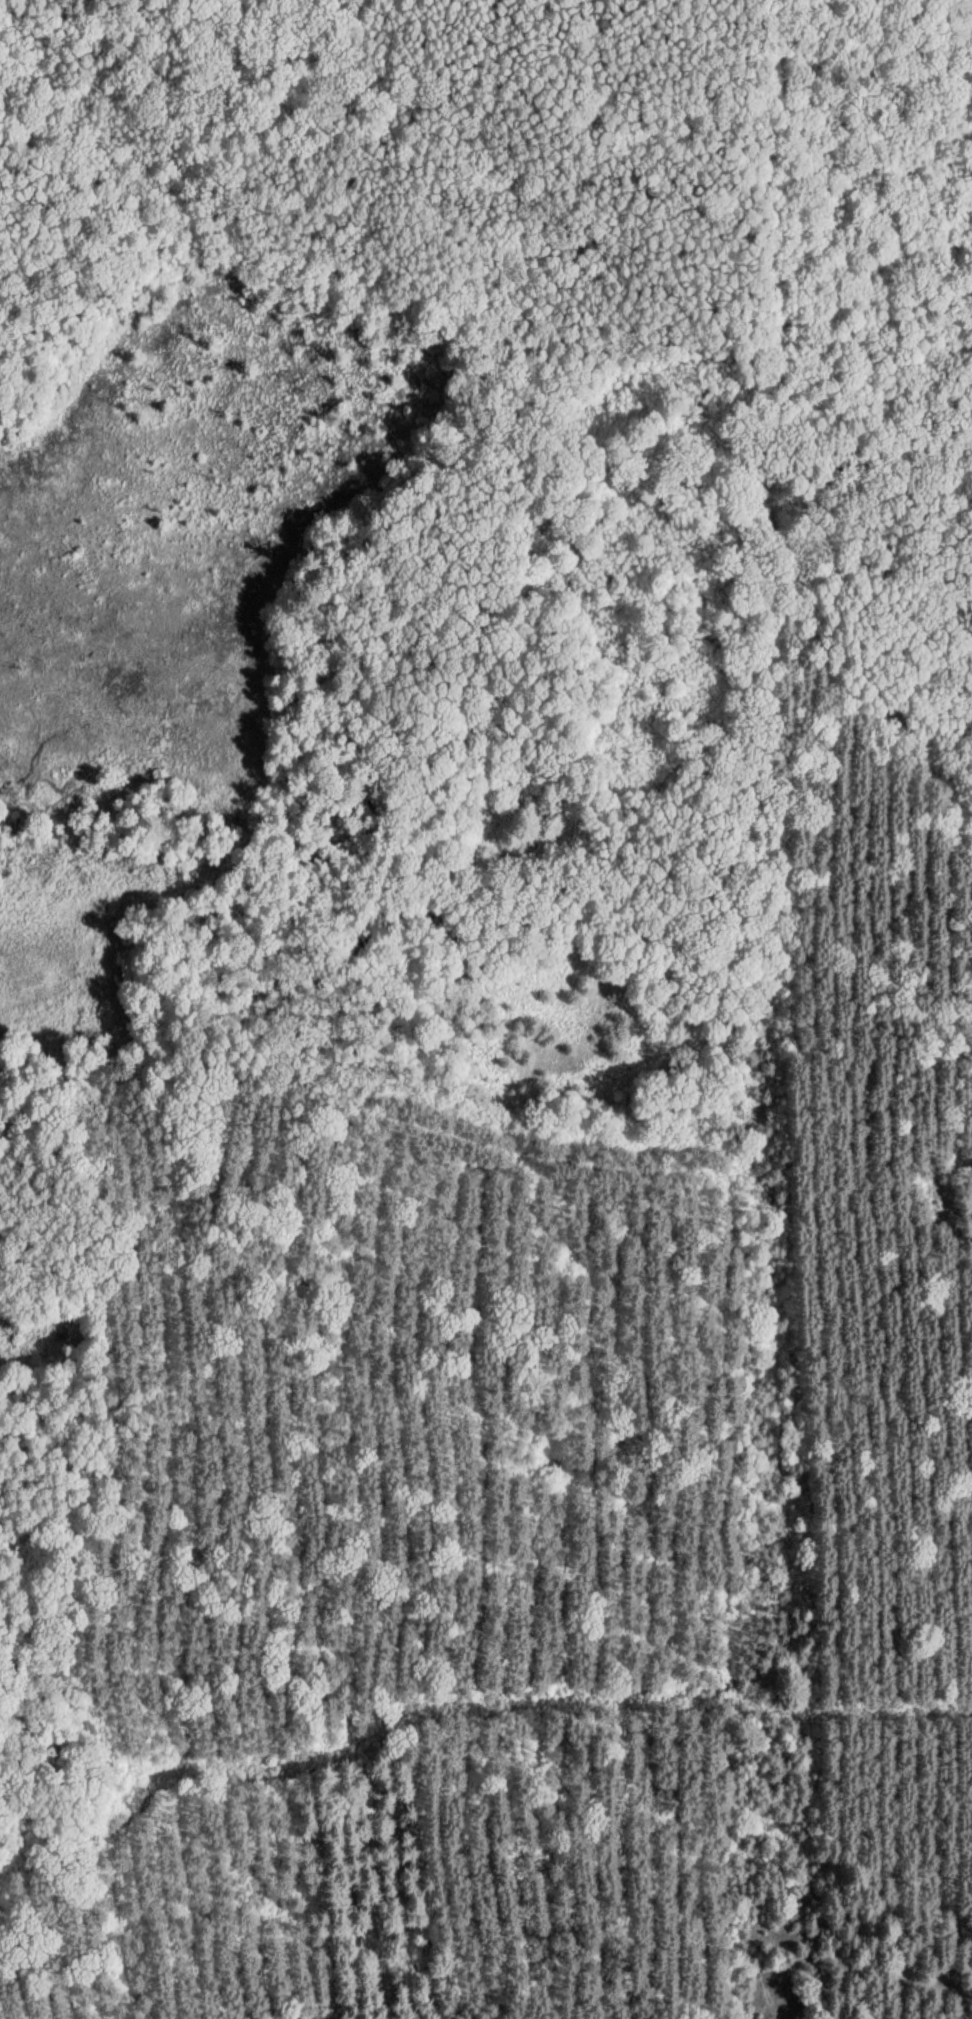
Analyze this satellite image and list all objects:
road: (828, 612)
road: (696, 1033)

